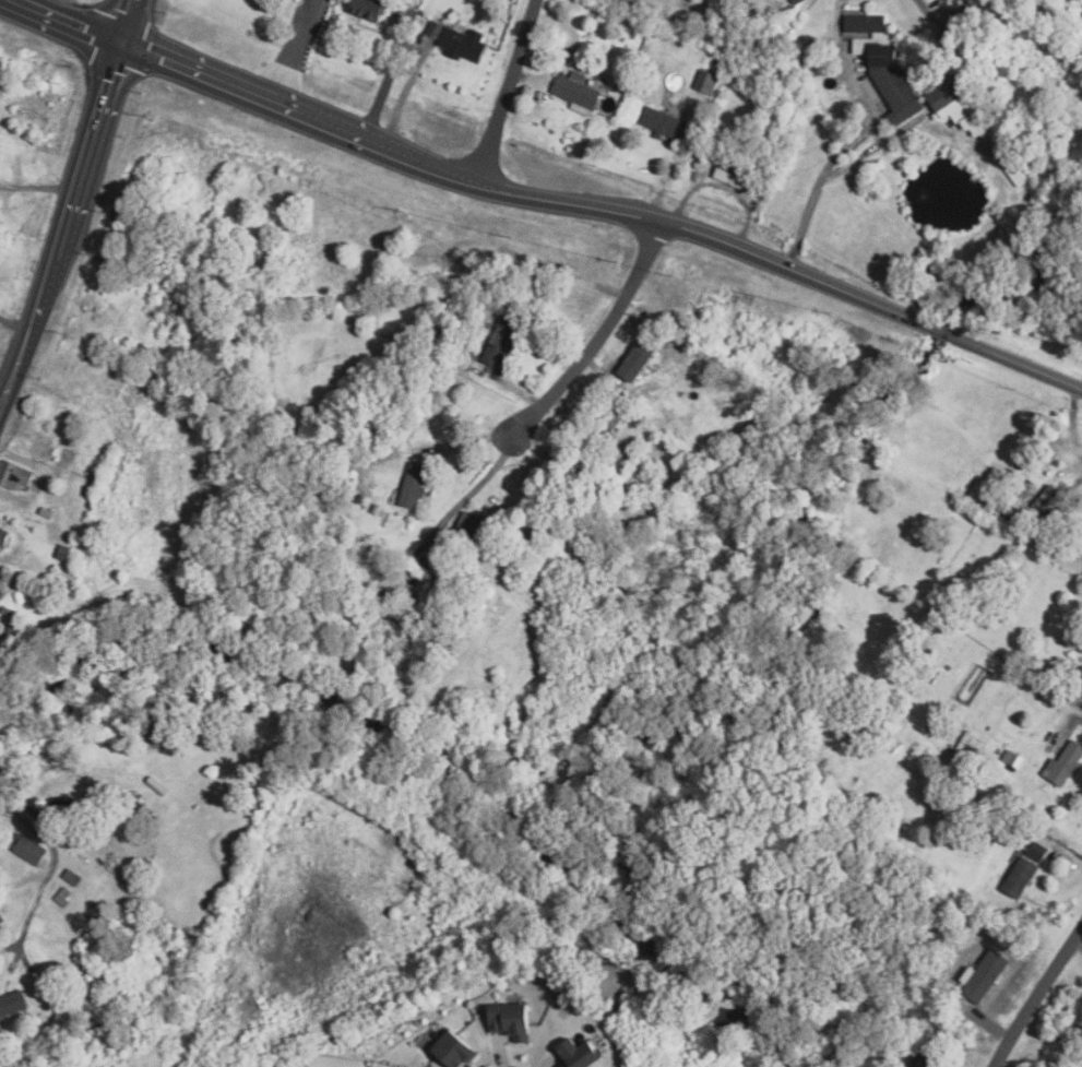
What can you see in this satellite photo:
building: (944, 0)
road: (923, 8)
building: (368, 9)
road: (837, 14)
road: (70, 19)
building: (433, 28)
traffic signals: (120, 38)
building: (461, 44)
road: (289, 51)
building: (883, 66)
road: (384, 80)
building: (704, 81)
building: (575, 92)
road: (515, 95)
road: (402, 96)
building: (665, 123)
building: (737, 178)
road: (813, 190)
road: (71, 200)
road: (599, 212)
road: (13, 324)
building: (499, 343)
building: (635, 360)
road: (539, 412)
building: (609, 416)
building: (14, 475)
building: (412, 485)
building: (1053, 496)
building: (472, 521)
building: (2, 538)
building: (1079, 677)
building: (1012, 760)
building: (1061, 764)
building: (69, 813)
building: (146, 814)
building: (1037, 849)
building: (28, 850)
road: (50, 869)
building: (1019, 877)
building: (72, 878)
building: (62, 898)
building: (1, 921)
road: (1035, 995)
building: (12, 1006)
building: (510, 1020)
building: (450, 1046)
building: (576, 1053)
building: (923, 1055)

